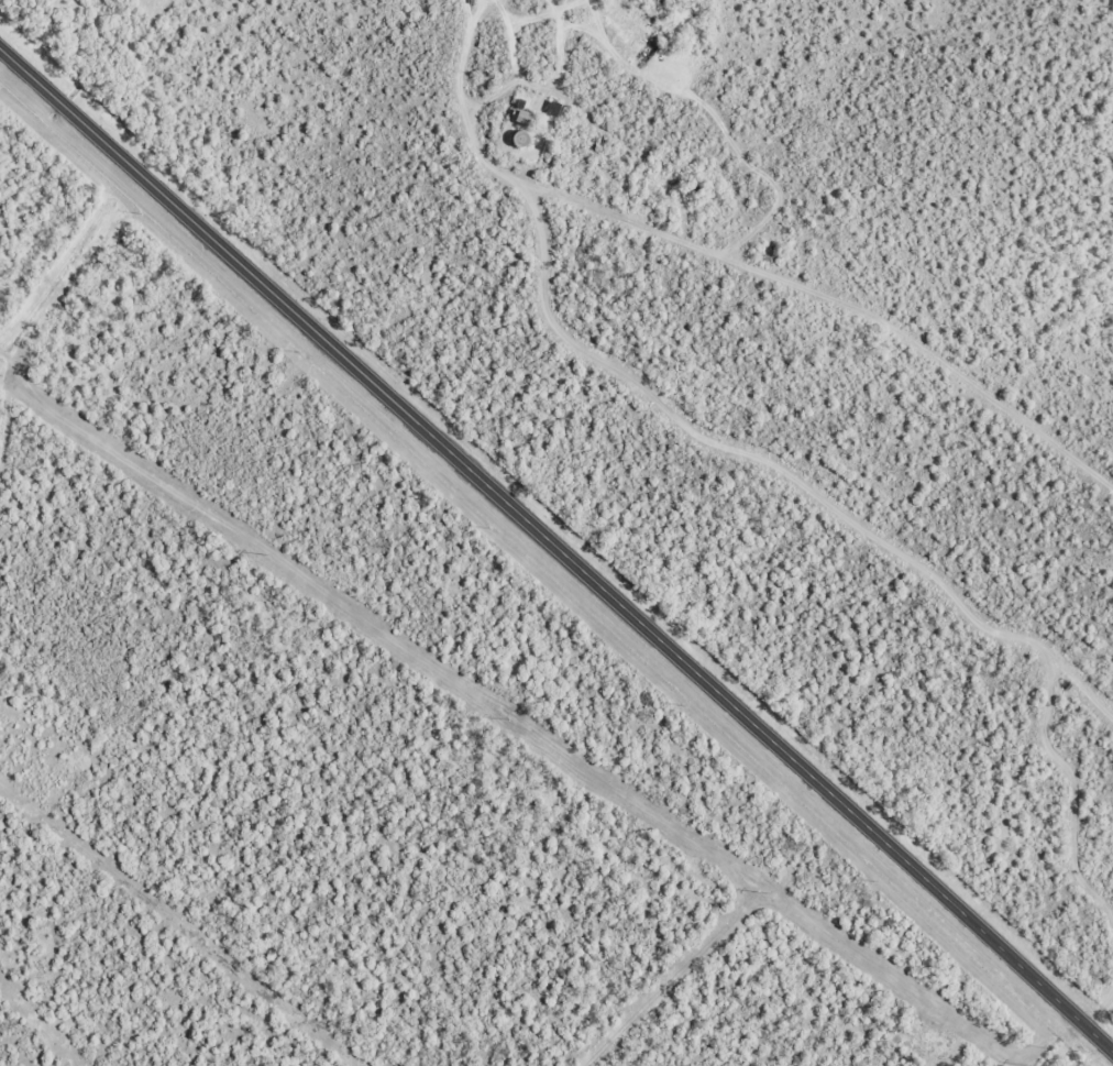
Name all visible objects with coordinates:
road: (551, 54)
building: (513, 117)
road: (556, 548)
power tower: (258, 553)
power tower: (503, 717)
power tower: (760, 892)

